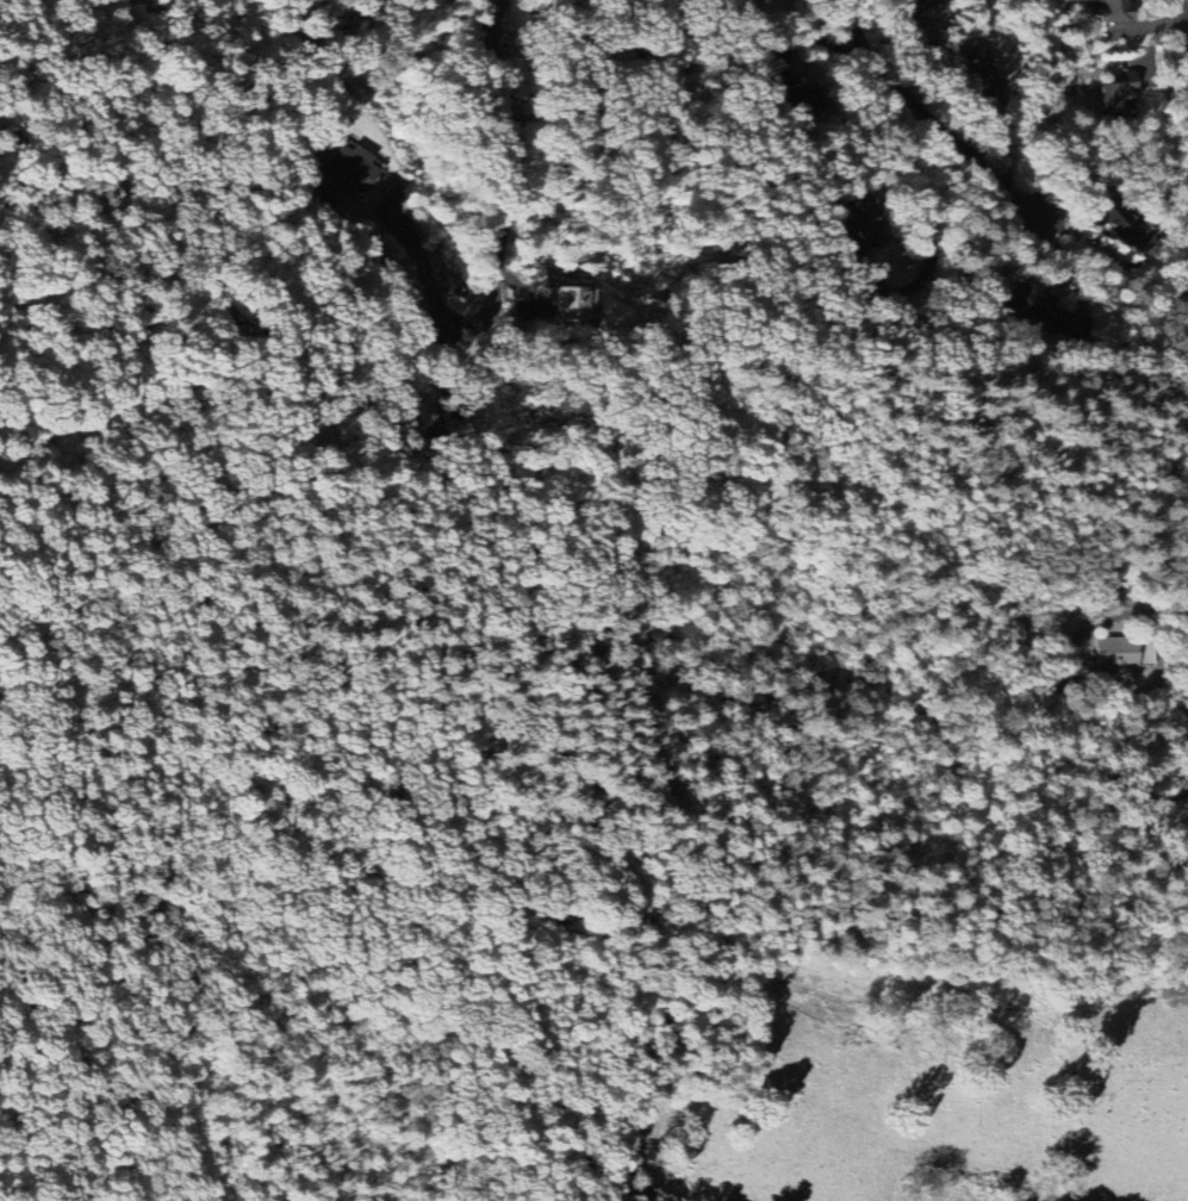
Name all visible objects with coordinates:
building: (761, 0)
building: (918, 4)
building: (1113, 11)
road: (1183, 11)
building: (984, 81)
building: (1119, 94)
building: (804, 102)
road: (927, 120)
road: (505, 169)
building: (346, 170)
building: (1109, 213)
building: (866, 220)
road: (932, 224)
road: (411, 282)
building: (1030, 301)
building: (570, 304)
building: (413, 417)
road: (1081, 636)
building: (1122, 654)
road: (1143, 679)
road: (1115, 782)

